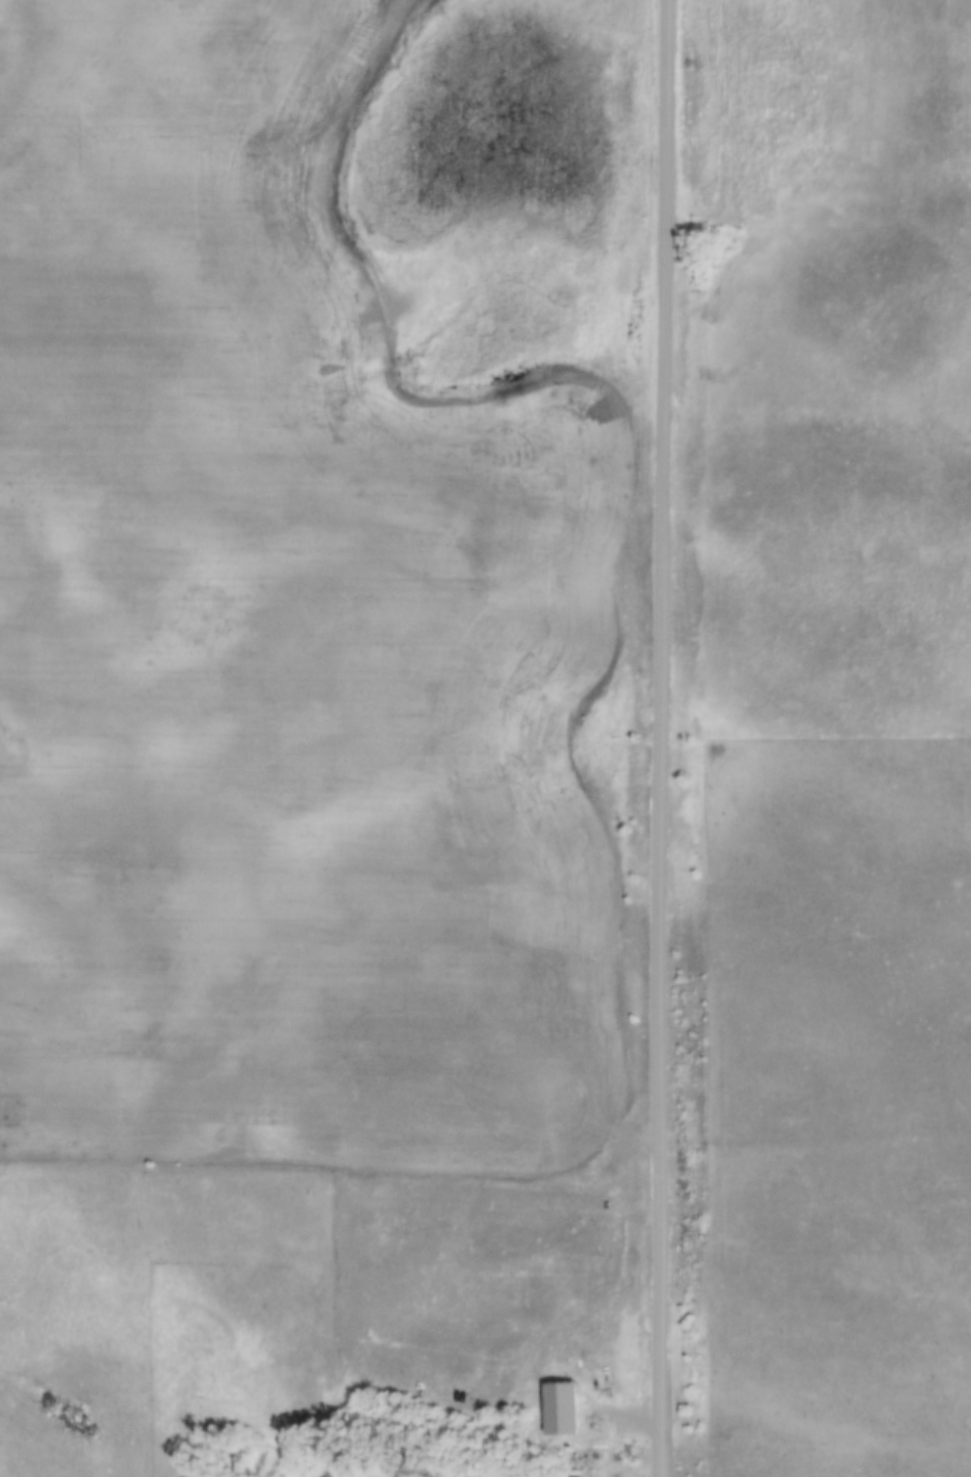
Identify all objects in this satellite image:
road: (659, 738)

